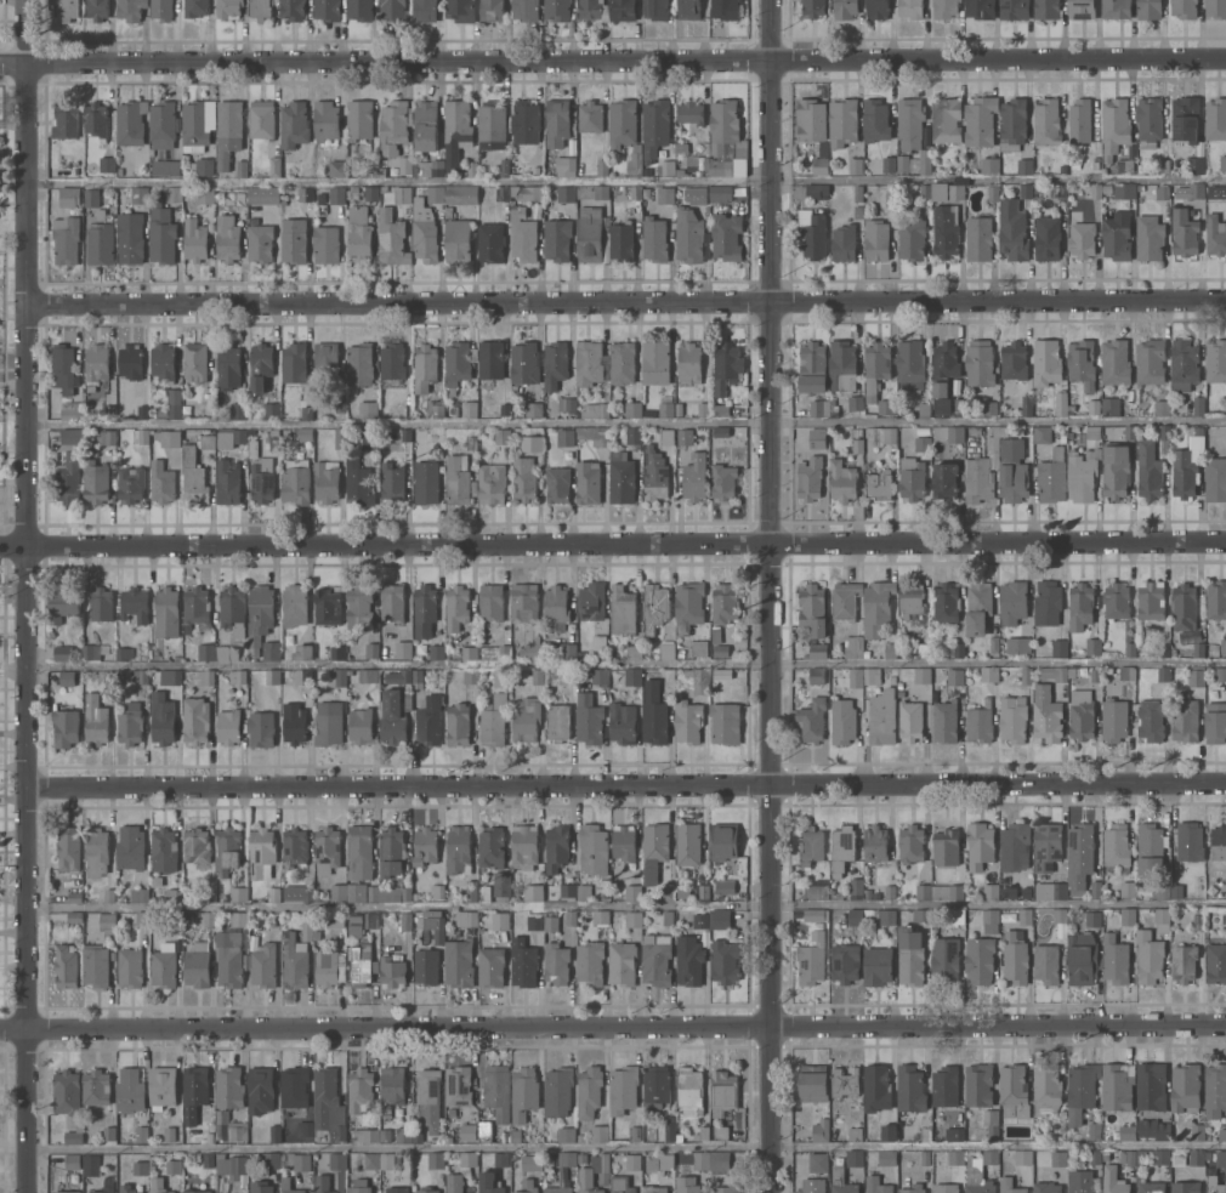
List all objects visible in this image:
building: (197, 7)
building: (813, 7)
building: (68, 8)
building: (131, 8)
building: (228, 8)
building: (261, 8)
building: (689, 8)
building: (725, 8)
building: (845, 8)
building: (878, 8)
building: (910, 8)
building: (947, 8)
building: (981, 8)
building: (1117, 8)
building: (1150, 8)
building: (1185, 8)
building: (1216, 8)
building: (98, 10)
building: (163, 10)
building: (293, 10)
building: (328, 10)
building: (364, 10)
building: (461, 10)
building: (492, 10)
building: (526, 10)
building: (557, 10)
building: (595, 10)
building: (623, 10)
building: (658, 10)
building: (1016, 10)
building: (1048, 10)
building: (1083, 10)
building: (395, 11)
building: (425, 11)
road: (612, 59)
road: (612, 78)
building: (691, 113)
building: (591, 115)
building: (1186, 118)
building: (1216, 118)
building: (96, 119)
building: (262, 119)
building: (359, 119)
building: (66, 120)
building: (327, 120)
building: (876, 120)
building: (947, 120)
building: (1080, 120)
building: (526, 121)
building: (558, 121)
building: (844, 121)
building: (981, 121)
building: (1150, 121)
building: (131, 123)
building: (492, 123)
building: (623, 123)
building: (1014, 123)
building: (1048, 123)
building: (198, 124)
building: (294, 124)
building: (459, 124)
building: (163, 125)
building: (395, 125)
building: (426, 125)
building: (655, 126)
building: (1116, 126)
building: (726, 127)
building: (813, 130)
building: (914, 130)
building: (229, 131)
building: (682, 148)
road: (45, 153)
building: (635, 160)
building: (1222, 161)
building: (697, 163)
building: (903, 163)
building: (107, 164)
building: (889, 164)
building: (1075, 164)
building: (1095, 164)
building: (405, 165)
building: (566, 165)
building: (1125, 165)
building: (1162, 165)
building: (1196, 165)
building: (205, 166)
building: (276, 166)
building: (603, 166)
building: (664, 166)
building: (721, 166)
building: (856, 166)
building: (991, 166)
building: (1024, 166)
building: (166, 167)
building: (339, 167)
building: (428, 167)
building: (504, 167)
building: (1061, 167)
building: (243, 169)
building: (473, 169)
building: (374, 170)
building: (252, 172)
building: (648, 172)
building: (681, 172)
road: (626, 182)
building: (1037, 188)
building: (1058, 189)
building: (927, 191)
building: (941, 191)
building: (1026, 191)
building: (1096, 191)
building: (1124, 191)
building: (1197, 191)
building: (1216, 191)
building: (594, 192)
building: (636, 192)
building: (811, 192)
building: (957, 192)
building: (993, 192)
building: (1163, 192)
building: (373, 193)
building: (503, 193)
building: (530, 193)
building: (567, 193)
building: (647, 193)
building: (858, 193)
building: (174, 194)
building: (206, 194)
building: (239, 194)
building: (265, 194)
building: (306, 194)
building: (403, 194)
building: (436, 194)
building: (462, 194)
building: (665, 194)
building: (696, 194)
building: (720, 194)
building: (1141, 194)
building: (141, 195)
building: (337, 195)
building: (69, 197)
building: (890, 197)
building: (92, 198)
building: (858, 212)
building: (946, 231)
building: (1014, 231)
building: (161, 233)
building: (812, 233)
building: (1185, 233)
building: (361, 234)
building: (591, 234)
building: (1117, 234)
building: (1216, 234)
building: (523, 235)
building: (131, 237)
building: (727, 237)
building: (1048, 237)
building: (392, 238)
building: (912, 238)
building: (1083, 238)
building: (1152, 238)
building: (67, 239)
building: (195, 239)
building: (228, 239)
building: (558, 239)
building: (655, 239)
building: (689, 239)
building: (878, 239)
building: (980, 239)
building: (426, 240)
building: (459, 240)
building: (623, 240)
building: (492, 242)
building: (101, 243)
building: (260, 243)
building: (295, 243)
building: (844, 243)
building: (327, 244)
road: (626, 280)
road: (626, 303)
building: (131, 359)
building: (163, 359)
building: (492, 359)
building: (97, 360)
building: (328, 360)
building: (1015, 360)
building: (1151, 360)
building: (1185, 360)
building: (1216, 360)
building: (195, 362)
building: (526, 362)
building: (657, 362)
building: (1046, 362)
building: (1117, 362)
building: (295, 363)
building: (458, 363)
building: (556, 363)
building: (590, 363)
building: (623, 363)
building: (689, 363)
building: (980, 363)
building: (1083, 363)
building: (361, 364)
building: (393, 365)
building: (912, 365)
building: (229, 367)
building: (261, 367)
building: (425, 367)
building: (727, 367)
building: (842, 367)
building: (876, 367)
building: (66, 368)
building: (813, 368)
building: (944, 368)
building: (175, 403)
building: (856, 403)
building: (957, 403)
building: (1061, 403)
building: (1199, 403)
building: (340, 404)
building: (567, 404)
building: (1028, 405)
building: (1092, 405)
building: (885, 407)
building: (1111, 407)
building: (467, 408)
building: (634, 408)
building: (703, 408)
building: (821, 408)
building: (991, 408)
building: (1163, 408)
building: (160, 409)
building: (368, 409)
building: (505, 409)
building: (535, 409)
building: (647, 409)
building: (680, 409)
building: (722, 409)
building: (834, 409)
building: (72, 410)
building: (239, 410)
building: (272, 410)
building: (404, 410)
building: (435, 410)
building: (596, 410)
building: (666, 410)
building: (929, 410)
building: (110, 411)
building: (143, 411)
building: (307, 411)
building: (960, 414)
building: (186, 415)
road: (999, 422)
road: (399, 425)
building: (975, 430)
building: (1004, 431)
building: (721, 432)
building: (1094, 432)
building: (1130, 432)
building: (1165, 432)
building: (948, 433)
building: (306, 434)
building: (407, 434)
building: (595, 434)
building: (635, 434)
building: (818, 434)
building: (1043, 434)
building: (140, 436)
building: (273, 436)
building: (351, 436)
building: (504, 436)
building: (685, 436)
building: (884, 436)
building: (107, 437)
building: (169, 437)
building: (566, 437)
building: (668, 437)
building: (232, 438)
building: (340, 438)
building: (370, 438)
building: (1063, 438)
building: (858, 441)
building: (208, 442)
building: (471, 442)
building: (532, 443)
building: (923, 444)
building: (274, 445)
building: (53, 455)
building: (1190, 467)
building: (69, 468)
building: (1014, 470)
building: (1117, 470)
building: (1150, 470)
building: (983, 472)
building: (655, 475)
building: (1083, 475)
building: (1052, 476)
building: (194, 478)
building: (524, 478)
building: (621, 478)
building: (696, 478)
building: (810, 478)
building: (913, 478)
building: (262, 479)
building: (460, 479)
building: (946, 479)
building: (1216, 479)
building: (96, 481)
building: (296, 481)
building: (328, 481)
building: (427, 481)
building: (725, 481)
building: (844, 481)
building: (163, 482)
building: (228, 482)
building: (358, 482)
building: (393, 482)
building: (589, 482)
building: (131, 483)
building: (492, 483)
building: (558, 483)
building: (880, 485)
road: (613, 545)
road: (28, 596)
road: (771, 596)
building: (846, 600)
building: (912, 600)
building: (1117, 600)
building: (1152, 600)
building: (1216, 600)
building: (592, 601)
building: (492, 602)
building: (524, 602)
building: (1014, 602)
building: (1048, 602)
building: (393, 603)
building: (726, 603)
building: (946, 603)
building: (63, 604)
building: (102, 604)
building: (135, 604)
building: (295, 604)
building: (1082, 604)
building: (361, 606)
building: (689, 606)
building: (328, 607)
building: (456, 607)
building: (655, 607)
building: (878, 607)
building: (978, 607)
building: (1185, 607)
building: (557, 608)
building: (813, 608)
building: (195, 609)
building: (233, 609)
building: (623, 609)
building: (425, 610)
building: (168, 612)
building: (260, 613)
building: (717, 636)
building: (600, 641)
building: (994, 644)
building: (1018, 644)
building: (1222, 646)
building: (533, 647)
building: (853, 647)
building: (1094, 647)
building: (700, 648)
building: (1060, 648)
building: (373, 649)
building: (397, 649)
building: (925, 649)
building: (959, 649)
building: (1131, 649)
building: (1199, 649)
building: (95, 651)
building: (272, 651)
building: (567, 651)
building: (668, 651)
building: (722, 651)
building: (817, 651)
building: (891, 651)
building: (1167, 651)
building: (206, 652)
building: (227, 652)
building: (303, 652)
building: (436, 652)
building: (505, 652)
building: (635, 652)
building: (63, 653)
building: (124, 653)
building: (339, 653)
building: (470, 653)
building: (681, 653)
building: (868, 653)
road: (626, 664)
building: (1072, 672)
building: (1128, 672)
building: (723, 674)
building: (1061, 674)
building: (1163, 674)
building: (1220, 674)
building: (817, 675)
building: (873, 675)
building: (923, 675)
building: (991, 675)
building: (1096, 675)
building: (140, 676)
building: (242, 676)
building: (273, 676)
building: (297, 676)
building: (369, 676)
building: (396, 676)
building: (471, 676)
building: (560, 676)
building: (601, 676)
building: (856, 676)
building: (957, 676)
building: (1027, 676)
building: (1197, 676)
building: (170, 677)
building: (208, 677)
building: (503, 677)
building: (634, 677)
building: (68, 678)
building: (340, 678)
building: (419, 678)
building: (537, 678)
building: (614, 680)
building: (699, 680)
building: (892, 680)
building: (938, 688)
building: (654, 714)
building: (1048, 715)
building: (1082, 715)
building: (393, 716)
building: (884, 717)
building: (163, 718)
building: (527, 718)
building: (589, 718)
building: (1014, 718)
building: (96, 720)
building: (197, 720)
building: (430, 720)
building: (494, 720)
building: (812, 720)
building: (910, 720)
building: (1116, 720)
building: (1186, 720)
building: (688, 721)
building: (844, 721)
building: (946, 721)
building: (1152, 721)
building: (558, 722)
building: (1215, 722)
building: (131, 723)
building: (329, 723)
building: (459, 723)
building: (623, 723)
building: (726, 723)
building: (981, 723)
building: (66, 727)
building: (228, 727)
building: (295, 727)
building: (362, 727)
building: (261, 728)
road: (626, 786)
building: (725, 841)
building: (1190, 841)
building: (624, 842)
building: (688, 843)
building: (876, 843)
building: (912, 843)
building: (164, 845)
building: (980, 845)
building: (1117, 845)
building: (296, 846)
building: (426, 846)
building: (494, 846)
building: (524, 846)
building: (811, 846)
building: (1015, 846)
building: (1048, 846)
building: (131, 847)
building: (197, 847)
building: (557, 847)
building: (844, 847)
building: (946, 847)
building: (1219, 847)
building: (69, 848)
building: (227, 850)
building: (328, 850)
building: (459, 850)
building: (594, 850)
building: (361, 851)
building: (392, 851)
building: (654, 851)
building: (1150, 851)
building: (97, 852)
building: (262, 852)
building: (1080, 856)
building: (501, 887)
building: (726, 887)
building: (702, 888)
building: (857, 888)
building: (471, 890)
building: (568, 890)
building: (1096, 890)
building: (1128, 890)
building: (1162, 890)
building: (439, 891)
building: (991, 891)
building: (1051, 891)
building: (1177, 891)
building: (339, 892)
building: (357, 892)
building: (534, 892)
building: (584, 892)
building: (634, 892)
building: (683, 892)
building: (817, 892)
building: (891, 892)
building: (924, 892)
building: (948, 892)
building: (297, 893)
building: (374, 893)
building: (396, 893)
building: (668, 893)
building: (109, 894)
building: (140, 894)
building: (239, 894)
building: (274, 894)
building: (838, 894)
building: (868, 894)
building: (875, 894)
building: (176, 896)
building: (75, 897)
road: (626, 905)
building: (816, 915)
building: (869, 915)
building: (923, 915)
building: (601, 916)
building: (669, 916)
building: (856, 916)
building: (887, 916)
building: (958, 916)
building: (1026, 916)
building: (1129, 916)
building: (74, 918)
building: (461, 918)
building: (471, 918)
building: (571, 918)
building: (844, 918)
building: (1224, 918)
building: (142, 919)
building: (206, 919)
building: (239, 919)
building: (634, 919)
building: (1094, 919)
building: (1199, 919)
building: (335, 920)
building: (371, 920)
building: (501, 920)
building: (702, 920)
building: (721, 920)
building: (991, 920)
building: (1163, 920)
building: (407, 921)
building: (535, 921)
building: (551, 922)
building: (1061, 922)
building: (109, 925)
building: (436, 925)
building: (307, 931)
building: (910, 955)
building: (1150, 956)
building: (229, 958)
building: (946, 958)
building: (657, 959)
building: (812, 959)
building: (1016, 959)
building: (1083, 959)
building: (1116, 959)
building: (689, 960)
building: (980, 960)
building: (295, 961)
building: (460, 961)
building: (726, 961)
building: (1216, 961)
building: (523, 962)
building: (556, 962)
building: (591, 962)
building: (845, 962)
building: (1049, 962)
building: (623, 964)
building: (1184, 964)
building: (96, 965)
building: (198, 965)
building: (426, 965)
building: (879, 965)
building: (67, 966)
building: (165, 966)
building: (263, 966)
building: (361, 966)
building: (492, 966)
building: (130, 967)
building: (330, 967)
building: (392, 971)
road: (613, 1028)
building: (845, 1081)
building: (393, 1084)
building: (980, 1084)
building: (163, 1086)
building: (295, 1086)
building: (459, 1086)
building: (657, 1086)
building: (946, 1086)
building: (1118, 1086)
building: (1152, 1086)
building: (97, 1087)
building: (229, 1087)
building: (878, 1087)
building: (1186, 1087)
building: (912, 1089)
building: (1046, 1089)
building: (131, 1090)
building: (261, 1090)
building: (361, 1090)
building: (623, 1090)
building: (691, 1090)
building: (1082, 1090)
building: (1215, 1090)
building: (195, 1091)
building: (558, 1091)
building: (590, 1091)
building: (67, 1092)
building: (723, 1092)
building: (1015, 1092)
building: (524, 1093)
building: (817, 1096)
building: (500, 1098)
building: (428, 1103)
building: (329, 1104)
building: (1063, 1114)
building: (838, 1120)
building: (992, 1123)
building: (308, 1129)
building: (670, 1129)
building: (1154, 1129)
building: (238, 1130)
building: (1094, 1130)
building: (486, 1131)
building: (1198, 1131)
building: (110, 1132)
building: (469, 1132)
building: (635, 1132)
building: (722, 1132)
building: (890, 1132)
building: (1128, 1132)
building: (142, 1134)
building: (170, 1134)
building: (276, 1134)
building: (566, 1134)
building: (600, 1134)
building: (702, 1134)
building: (856, 1134)
building: (925, 1134)
building: (955, 1134)
building: (1222, 1134)
building: (367, 1135)
building: (386, 1135)
building: (404, 1135)
building: (74, 1137)
building: (581, 1137)
building: (680, 1137)
building: (293, 1138)
road: (999, 1147)
road: (398, 1151)
building: (1209, 1154)
building: (284, 1157)
building: (991, 1157)
building: (1023, 1157)
building: (1095, 1157)
building: (1162, 1157)
building: (1197, 1157)
building: (501, 1158)
building: (567, 1158)
building: (856, 1158)
building: (887, 1158)
building: (926, 1158)
building: (955, 1158)
building: (1060, 1158)
building: (1131, 1158)
building: (1221, 1158)
building: (470, 1159)
building: (550, 1159)
building: (1179, 1159)
building: (209, 1160)
building: (272, 1160)
building: (339, 1160)
building: (373, 1160)
building: (388, 1160)
building: (437, 1160)
building: (703, 1160)
building: (721, 1160)
building: (73, 1161)
building: (302, 1161)
building: (632, 1161)
building: (660, 1161)
building: (532, 1163)
building: (232, 1164)
building: (601, 1164)
building: (91, 1165)
building: (175, 1166)
building: (819, 1166)
building: (141, 1168)
building: (978, 1177)
building: (588, 1181)
building: (842, 1181)
building: (1006, 1181)
building: (1082, 1181)
building: (1113, 1181)
building: (323, 1182)
building: (455, 1183)
building: (490, 1183)
building: (159, 1185)
building: (621, 1185)
building: (687, 1185)
building: (878, 1185)
building: (1215, 1185)
building: (106, 1186)
building: (289, 1186)
building: (361, 1186)
building: (527, 1186)
building: (261, 1187)
building: (1046, 1187)
building: (1152, 1187)
building: (1186, 1187)
building: (127, 1188)
building: (726, 1188)
building: (813, 1188)
building: (913, 1188)
building: (947, 1188)
building: (398, 1189)
building: (427, 1189)
building: (558, 1189)
building: (654, 1189)
building: (198, 1191)
building: (67, 1192)

